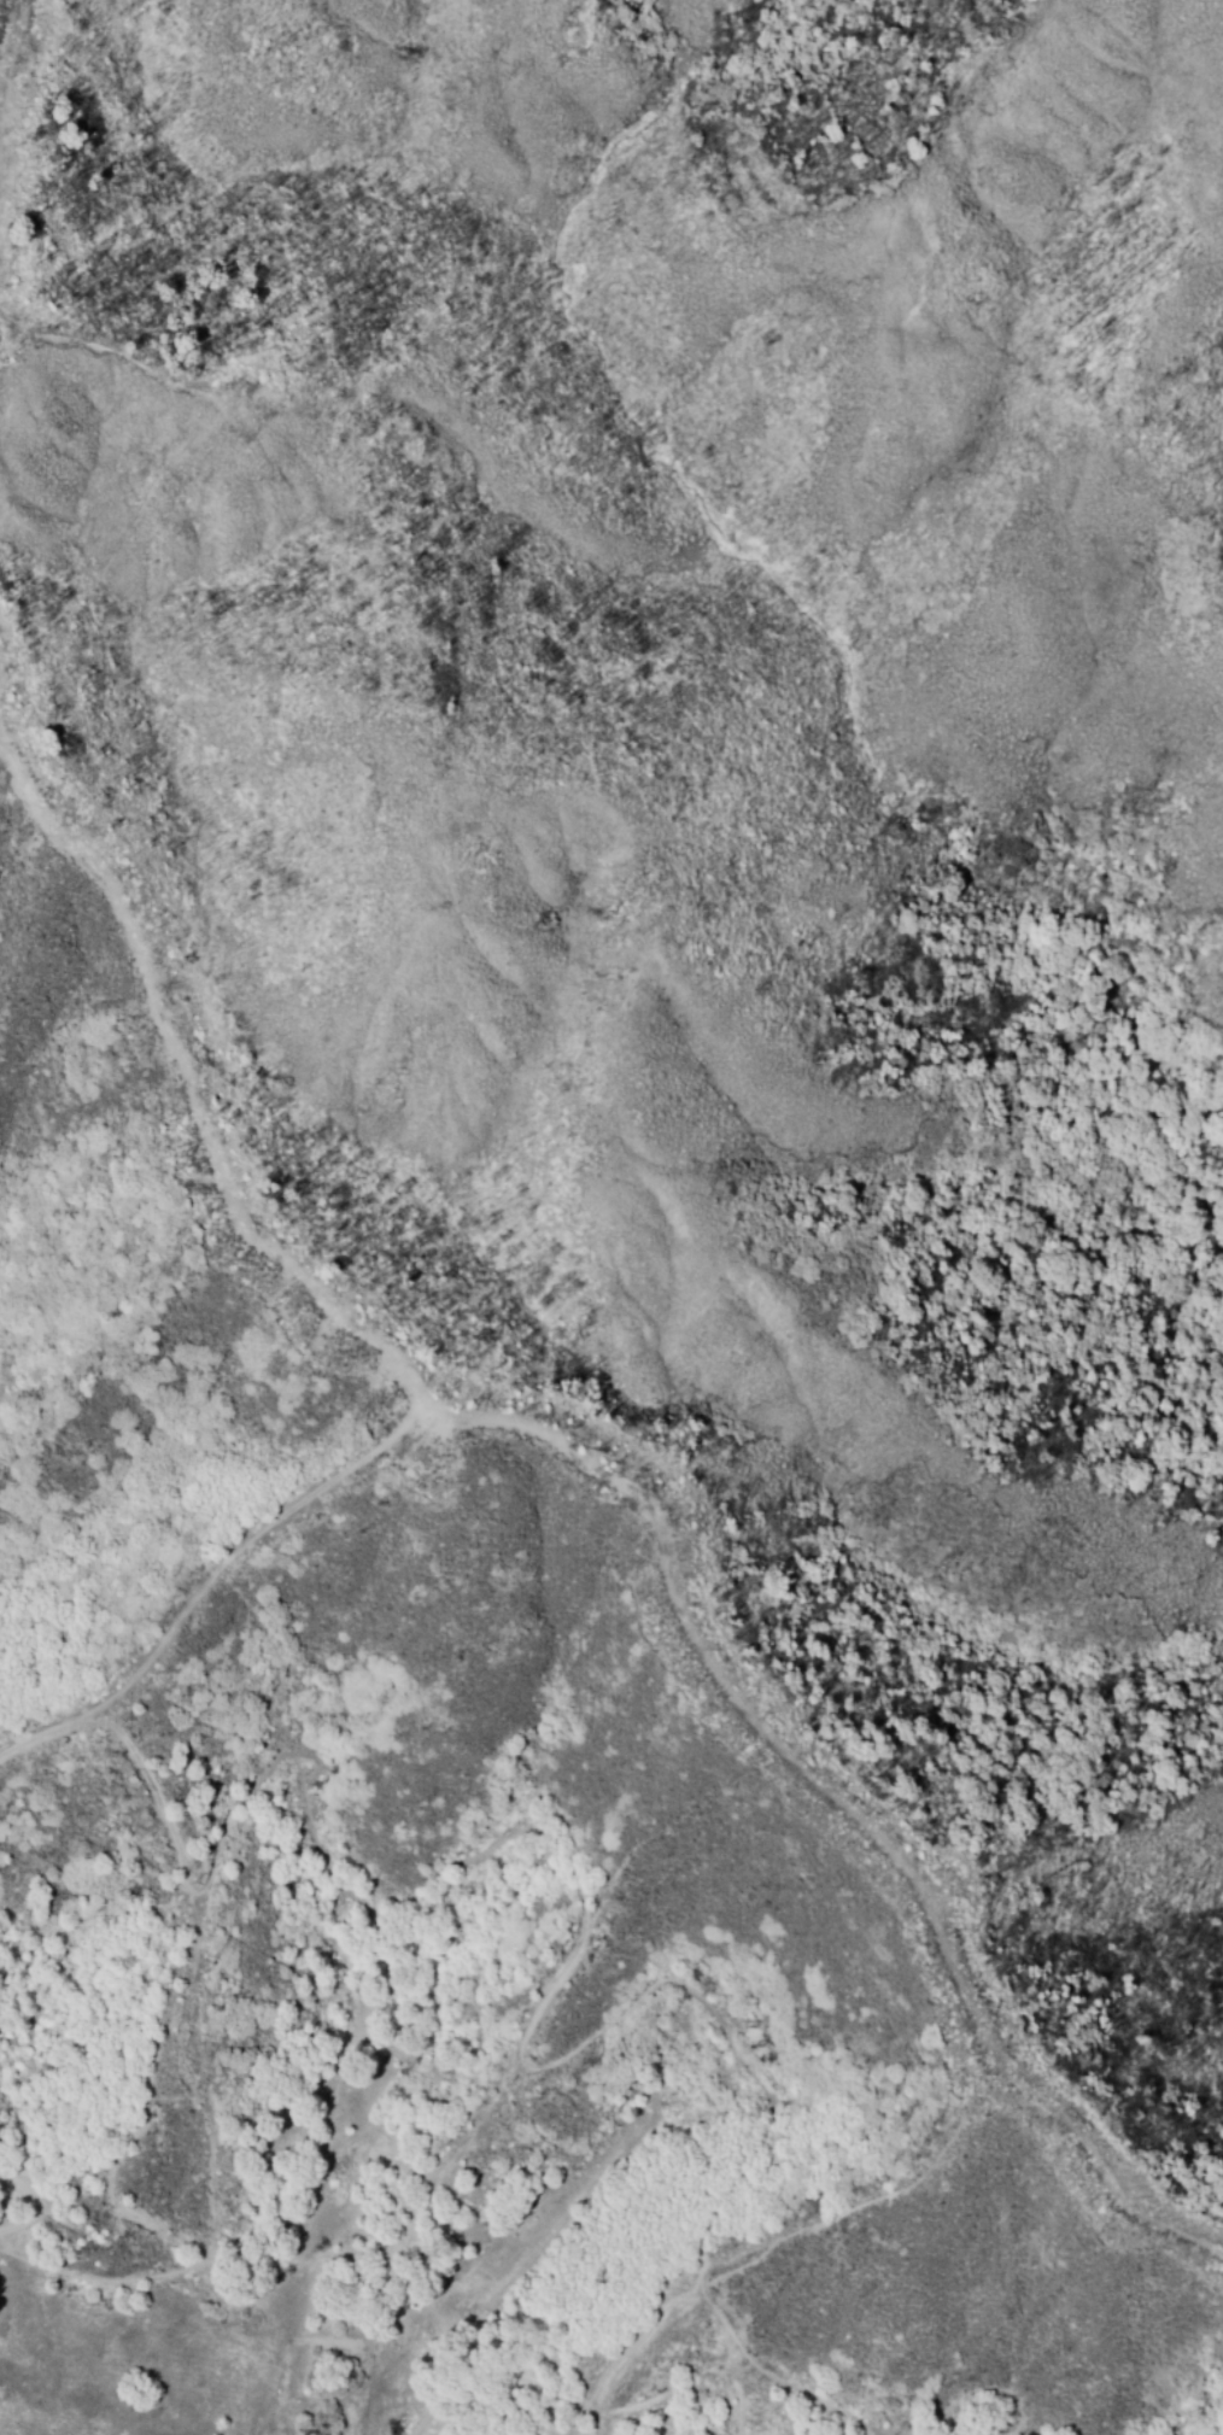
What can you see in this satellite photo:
road: (13, 89)
road: (25, 318)
road: (133, 359)
road: (1, 756)
road: (353, 1295)

